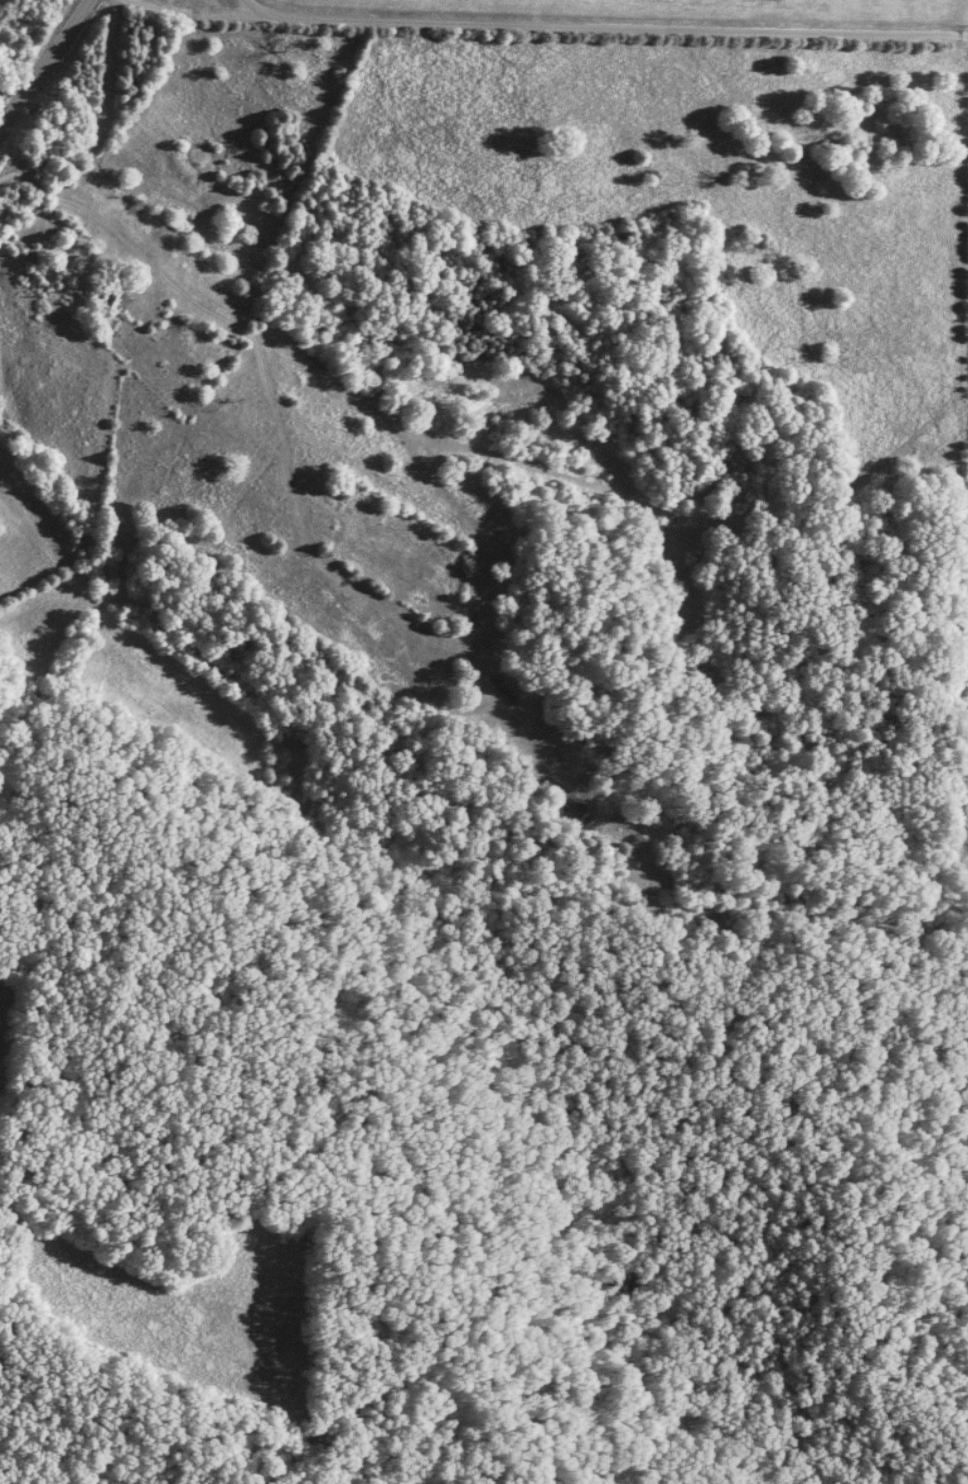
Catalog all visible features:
road: (549, 25)
road: (43, 61)
road: (67, 206)

